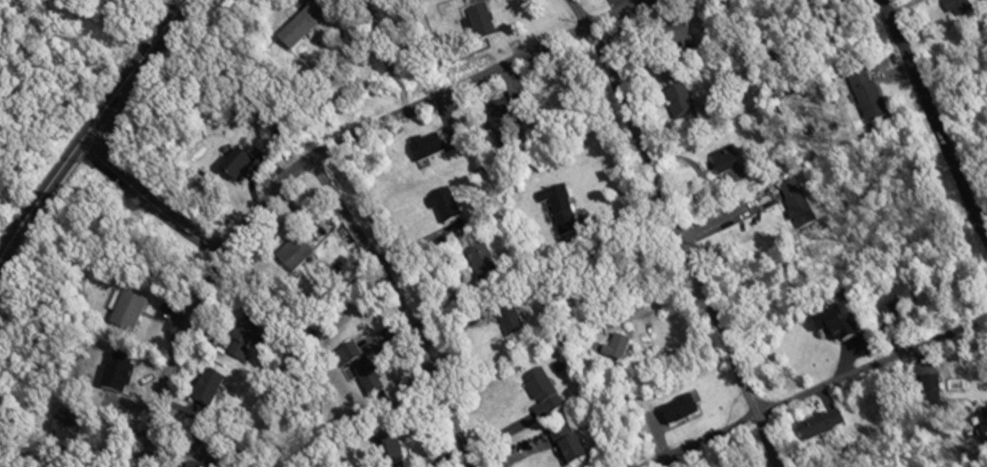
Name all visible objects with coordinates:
building: (955, 7)
building: (479, 24)
building: (869, 105)
building: (679, 107)
road: (932, 119)
road: (89, 127)
road: (315, 155)
building: (723, 167)
road: (700, 173)
road: (142, 205)
building: (557, 210)
road: (732, 222)
road: (679, 231)
building: (479, 264)
building: (895, 305)
road: (397, 308)
road: (656, 310)
building: (509, 325)
building: (830, 328)
building: (611, 349)
building: (359, 369)
road: (817, 388)
building: (928, 389)
building: (540, 395)
building: (676, 412)
building: (819, 427)
building: (563, 448)

